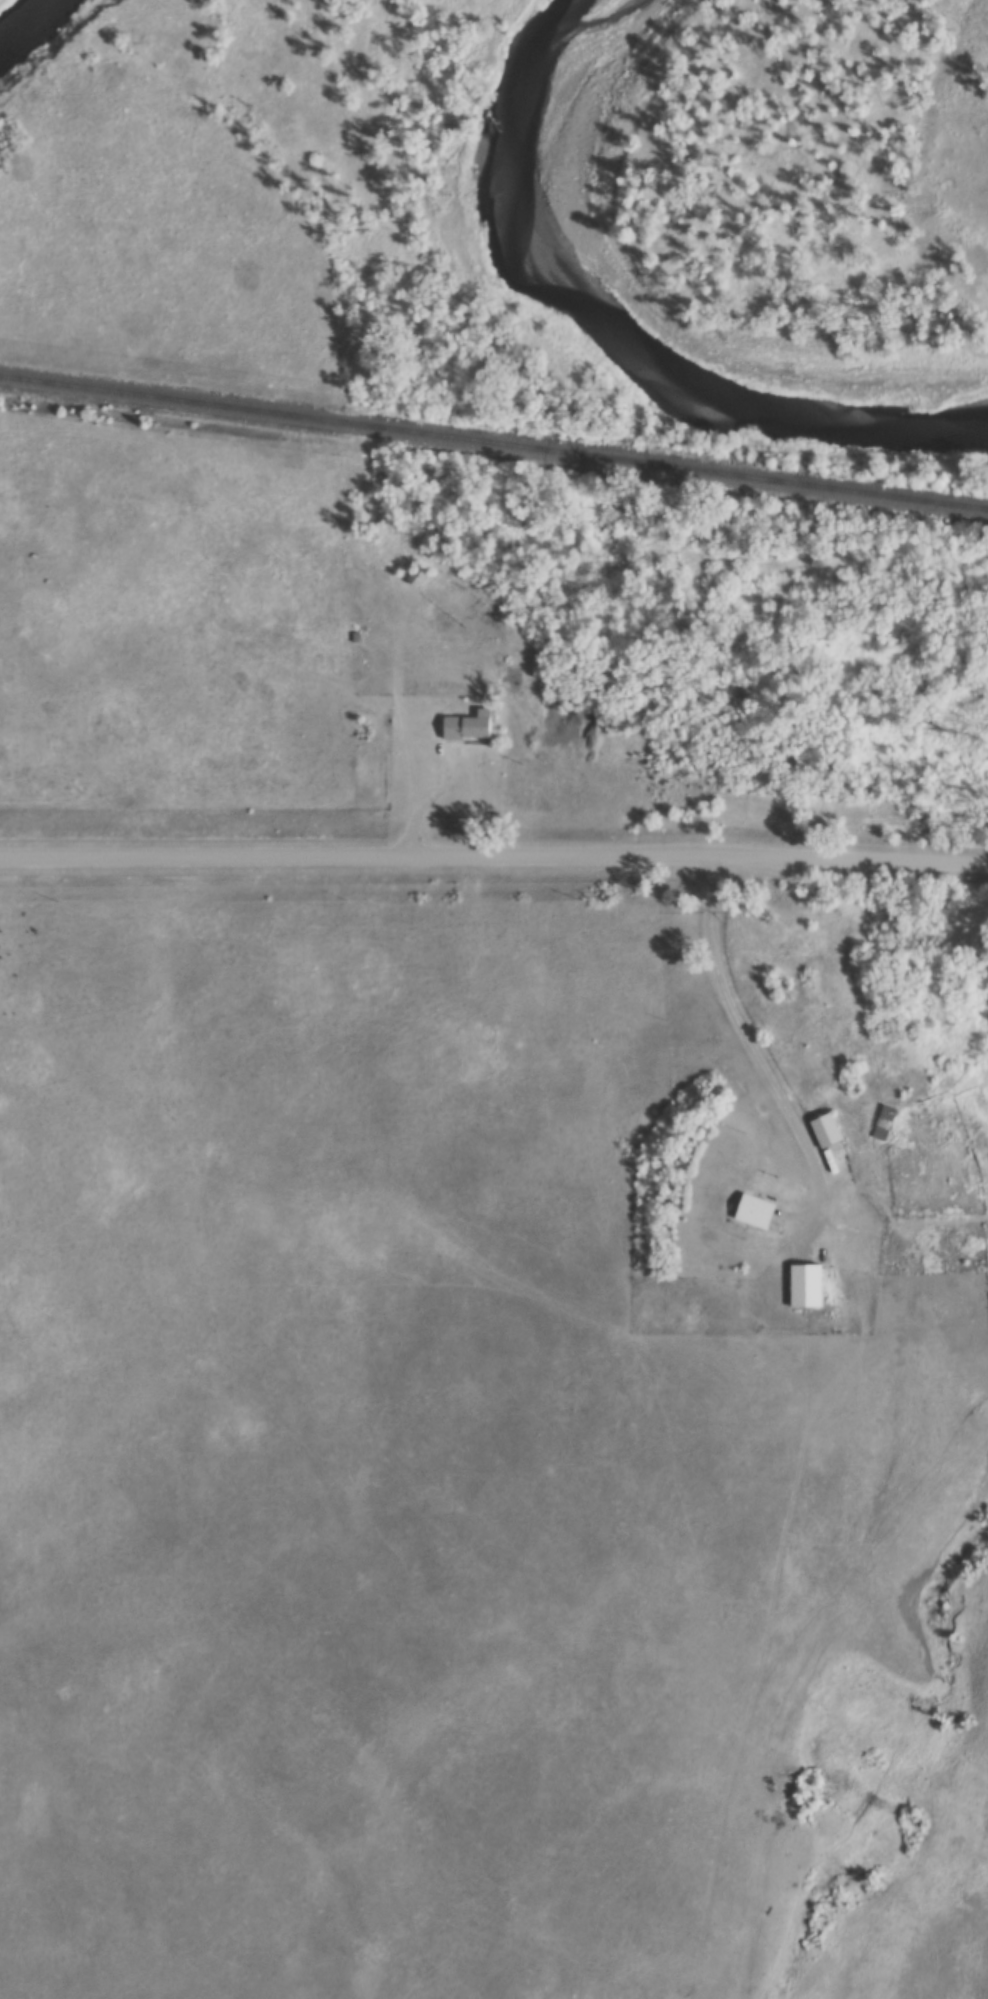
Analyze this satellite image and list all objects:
railway: (493, 452)
building: (419, 579)
building: (470, 728)
road: (494, 857)
road: (754, 1035)
building: (885, 1122)
building: (828, 1130)
building: (757, 1211)

